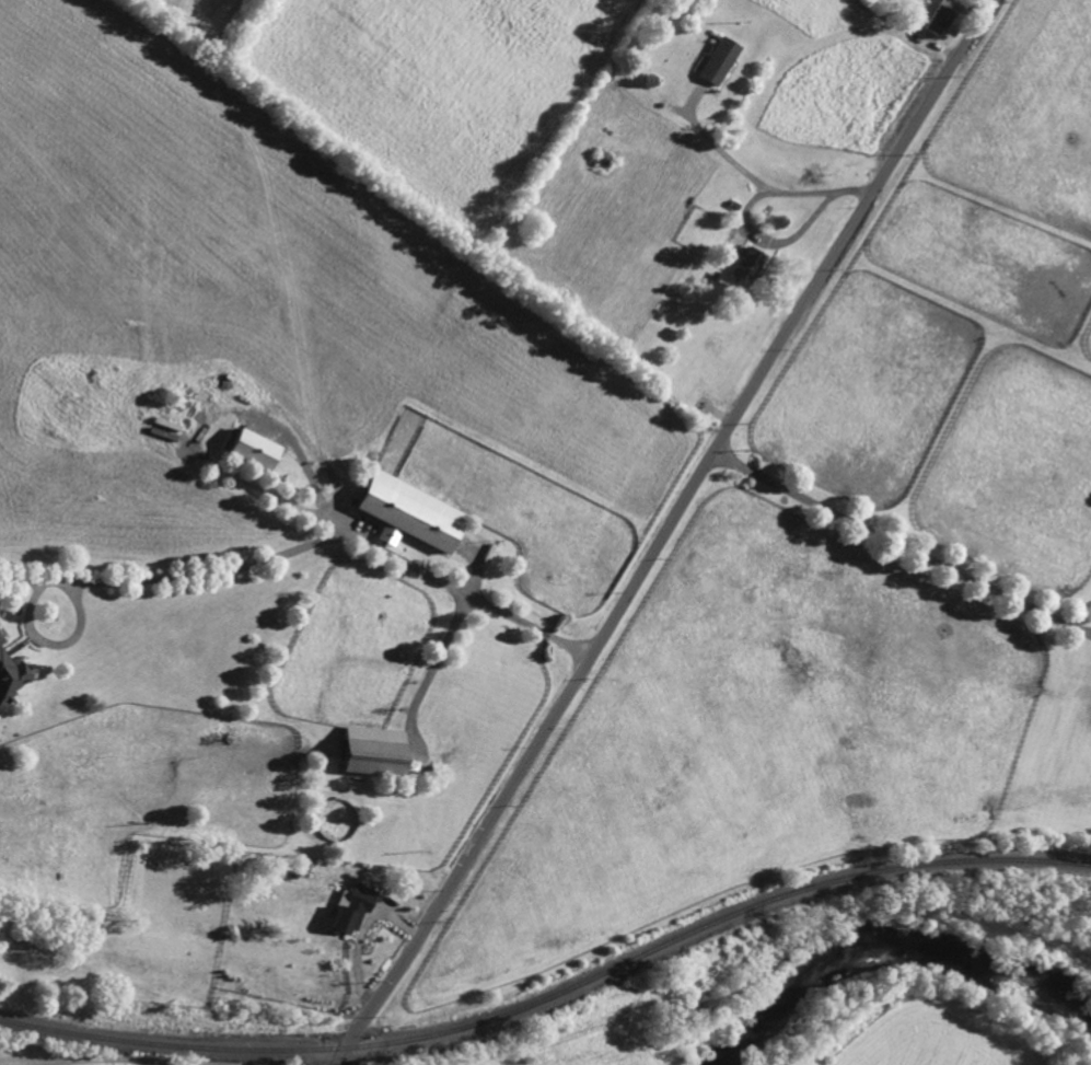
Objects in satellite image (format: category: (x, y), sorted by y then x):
building: (938, 19)
building: (718, 60)
building: (675, 89)
road: (724, 153)
building: (732, 204)
building: (768, 208)
road: (763, 234)
building: (747, 263)
building: (713, 275)
building: (252, 449)
road: (306, 476)
building: (407, 516)
road: (666, 532)
building: (387, 536)
road: (901, 547)
road: (253, 564)
building: (0, 641)
road: (430, 671)
building: (10, 679)
building: (371, 759)
building: (290, 873)
building: (350, 908)
road: (357, 936)
railway: (553, 995)
road: (155, 1055)

